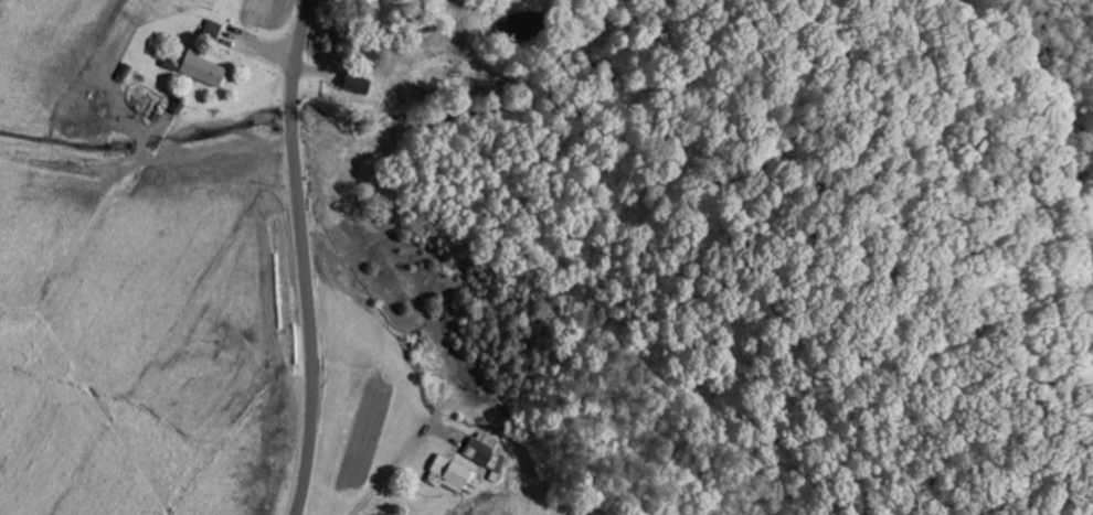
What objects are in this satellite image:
building: (204, 68)
road: (304, 257)
building: (486, 452)
building: (452, 474)

